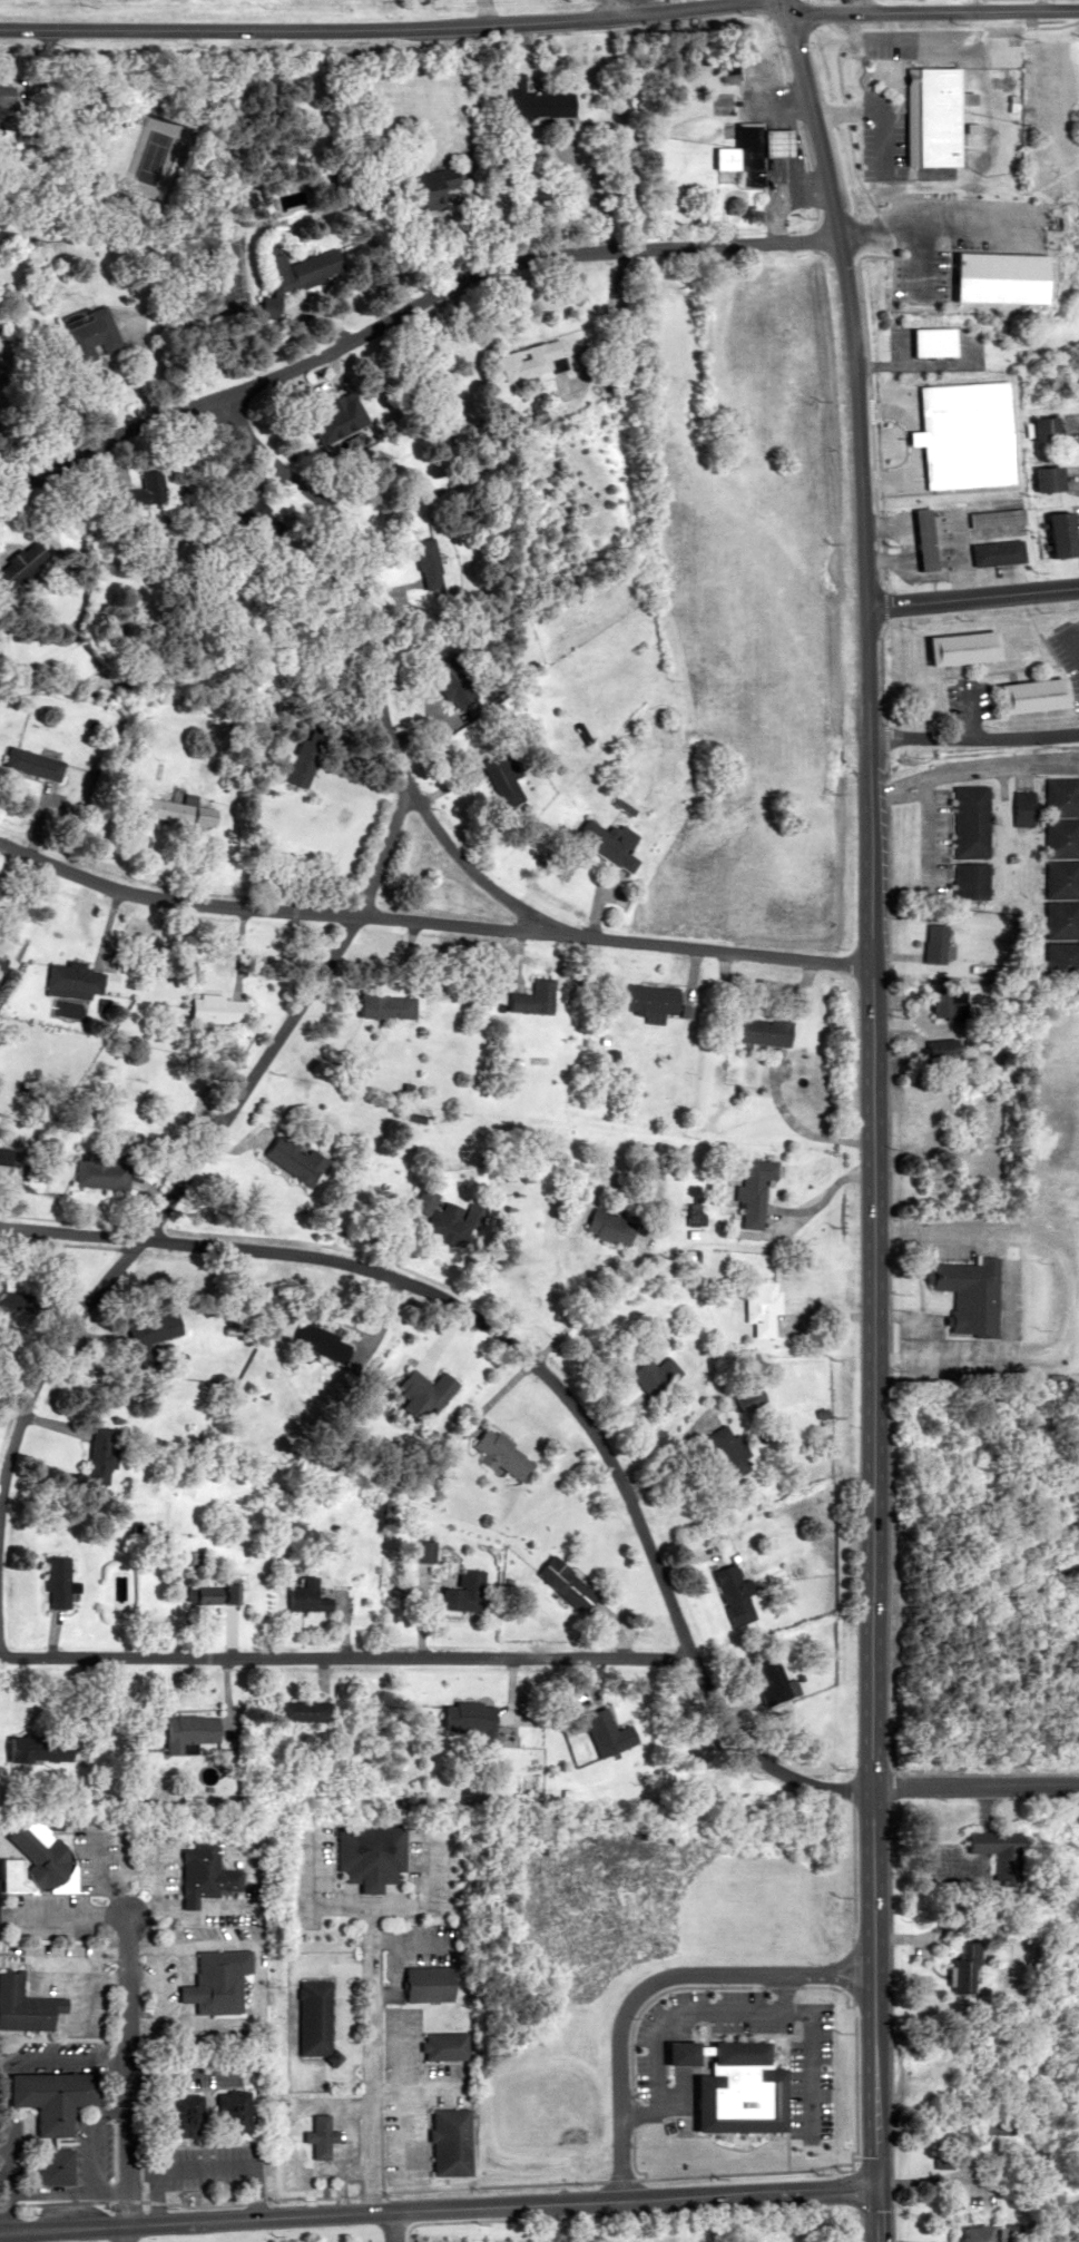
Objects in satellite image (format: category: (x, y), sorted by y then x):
road: (624, 7)
road: (931, 11)
road: (375, 28)
building: (725, 68)
building: (528, 100)
building: (925, 115)
building: (748, 149)
building: (425, 188)
building: (1002, 205)
building: (291, 274)
road: (402, 311)
building: (85, 333)
building: (928, 341)
building: (528, 361)
building: (543, 407)
building: (326, 416)
building: (990, 425)
building: (953, 427)
building: (1040, 427)
building: (1044, 478)
building: (143, 489)
building: (997, 517)
building: (1055, 533)
building: (921, 539)
building: (995, 552)
building: (16, 562)
building: (425, 562)
road: (970, 597)
road: (374, 626)
road: (1070, 645)
building: (954, 647)
building: (450, 680)
building: (1020, 695)
road: (967, 709)
road: (971, 737)
building: (295, 763)
building: (29, 764)
road: (969, 764)
building: (499, 779)
building: (1053, 796)
building: (1013, 807)
building: (174, 812)
building: (962, 820)
road: (930, 825)
building: (1055, 837)
building: (601, 843)
road: (467, 866)
building: (1056, 878)
building: (964, 881)
building: (1057, 918)
road: (431, 921)
building: (928, 943)
building: (1058, 960)
building: (76, 982)
building: (528, 999)
building: (643, 1000)
building: (940, 1003)
building: (379, 1006)
building: (209, 1010)
building: (753, 1031)
building: (932, 1049)
road: (873, 1117)
road: (804, 1123)
building: (9, 1156)
building: (291, 1158)
building: (99, 1172)
building: (752, 1190)
road: (825, 1192)
road: (173, 1196)
building: (439, 1218)
building: (605, 1227)
building: (964, 1294)
building: (11, 1300)
building: (758, 1307)
building: (158, 1327)
building: (306, 1338)
road: (541, 1369)
building: (654, 1374)
building: (416, 1393)
building: (726, 1453)
building: (497, 1454)
building: (101, 1455)
building: (424, 1551)
building: (55, 1582)
building: (559, 1583)
building: (461, 1593)
building: (213, 1594)
building: (730, 1594)
building: (300, 1595)
road: (343, 1654)
building: (769, 1679)
building: (300, 1710)
building: (468, 1717)
building: (184, 1731)
building: (600, 1731)
building: (40, 1753)
road: (975, 1787)
building: (992, 1849)
building: (369, 1855)
building: (32, 1857)
building: (205, 1872)
building: (959, 1967)
building: (214, 1982)
road: (651, 1982)
building: (428, 1983)
road: (779, 1990)
building: (22, 2006)
road: (725, 2008)
building: (307, 2016)
road: (373, 2039)
building: (445, 2046)
road: (62, 2064)
road: (408, 2066)
road: (126, 2068)
road: (434, 2084)
building: (728, 2087)
building: (47, 2097)
road: (313, 2098)
building: (228, 2111)
building: (182, 2114)
road: (409, 2128)
building: (320, 2136)
building: (449, 2141)
road: (89, 2148)
building: (51, 2165)
road: (204, 2166)
road: (1, 2167)
road: (141, 2167)
road: (611, 2176)
road: (46, 2186)
road: (438, 2205)
road: (395, 2224)
road: (125, 2232)
building: (980, 2233)

